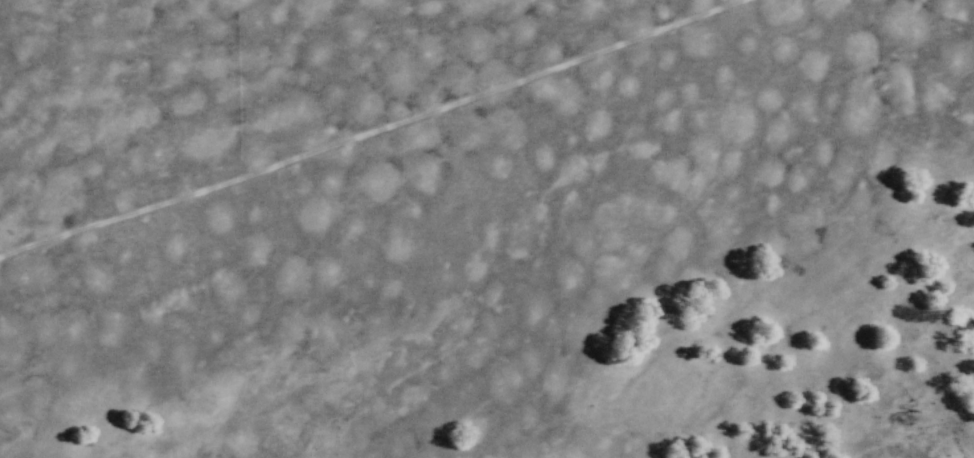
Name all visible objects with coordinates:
road: (368, 129)

